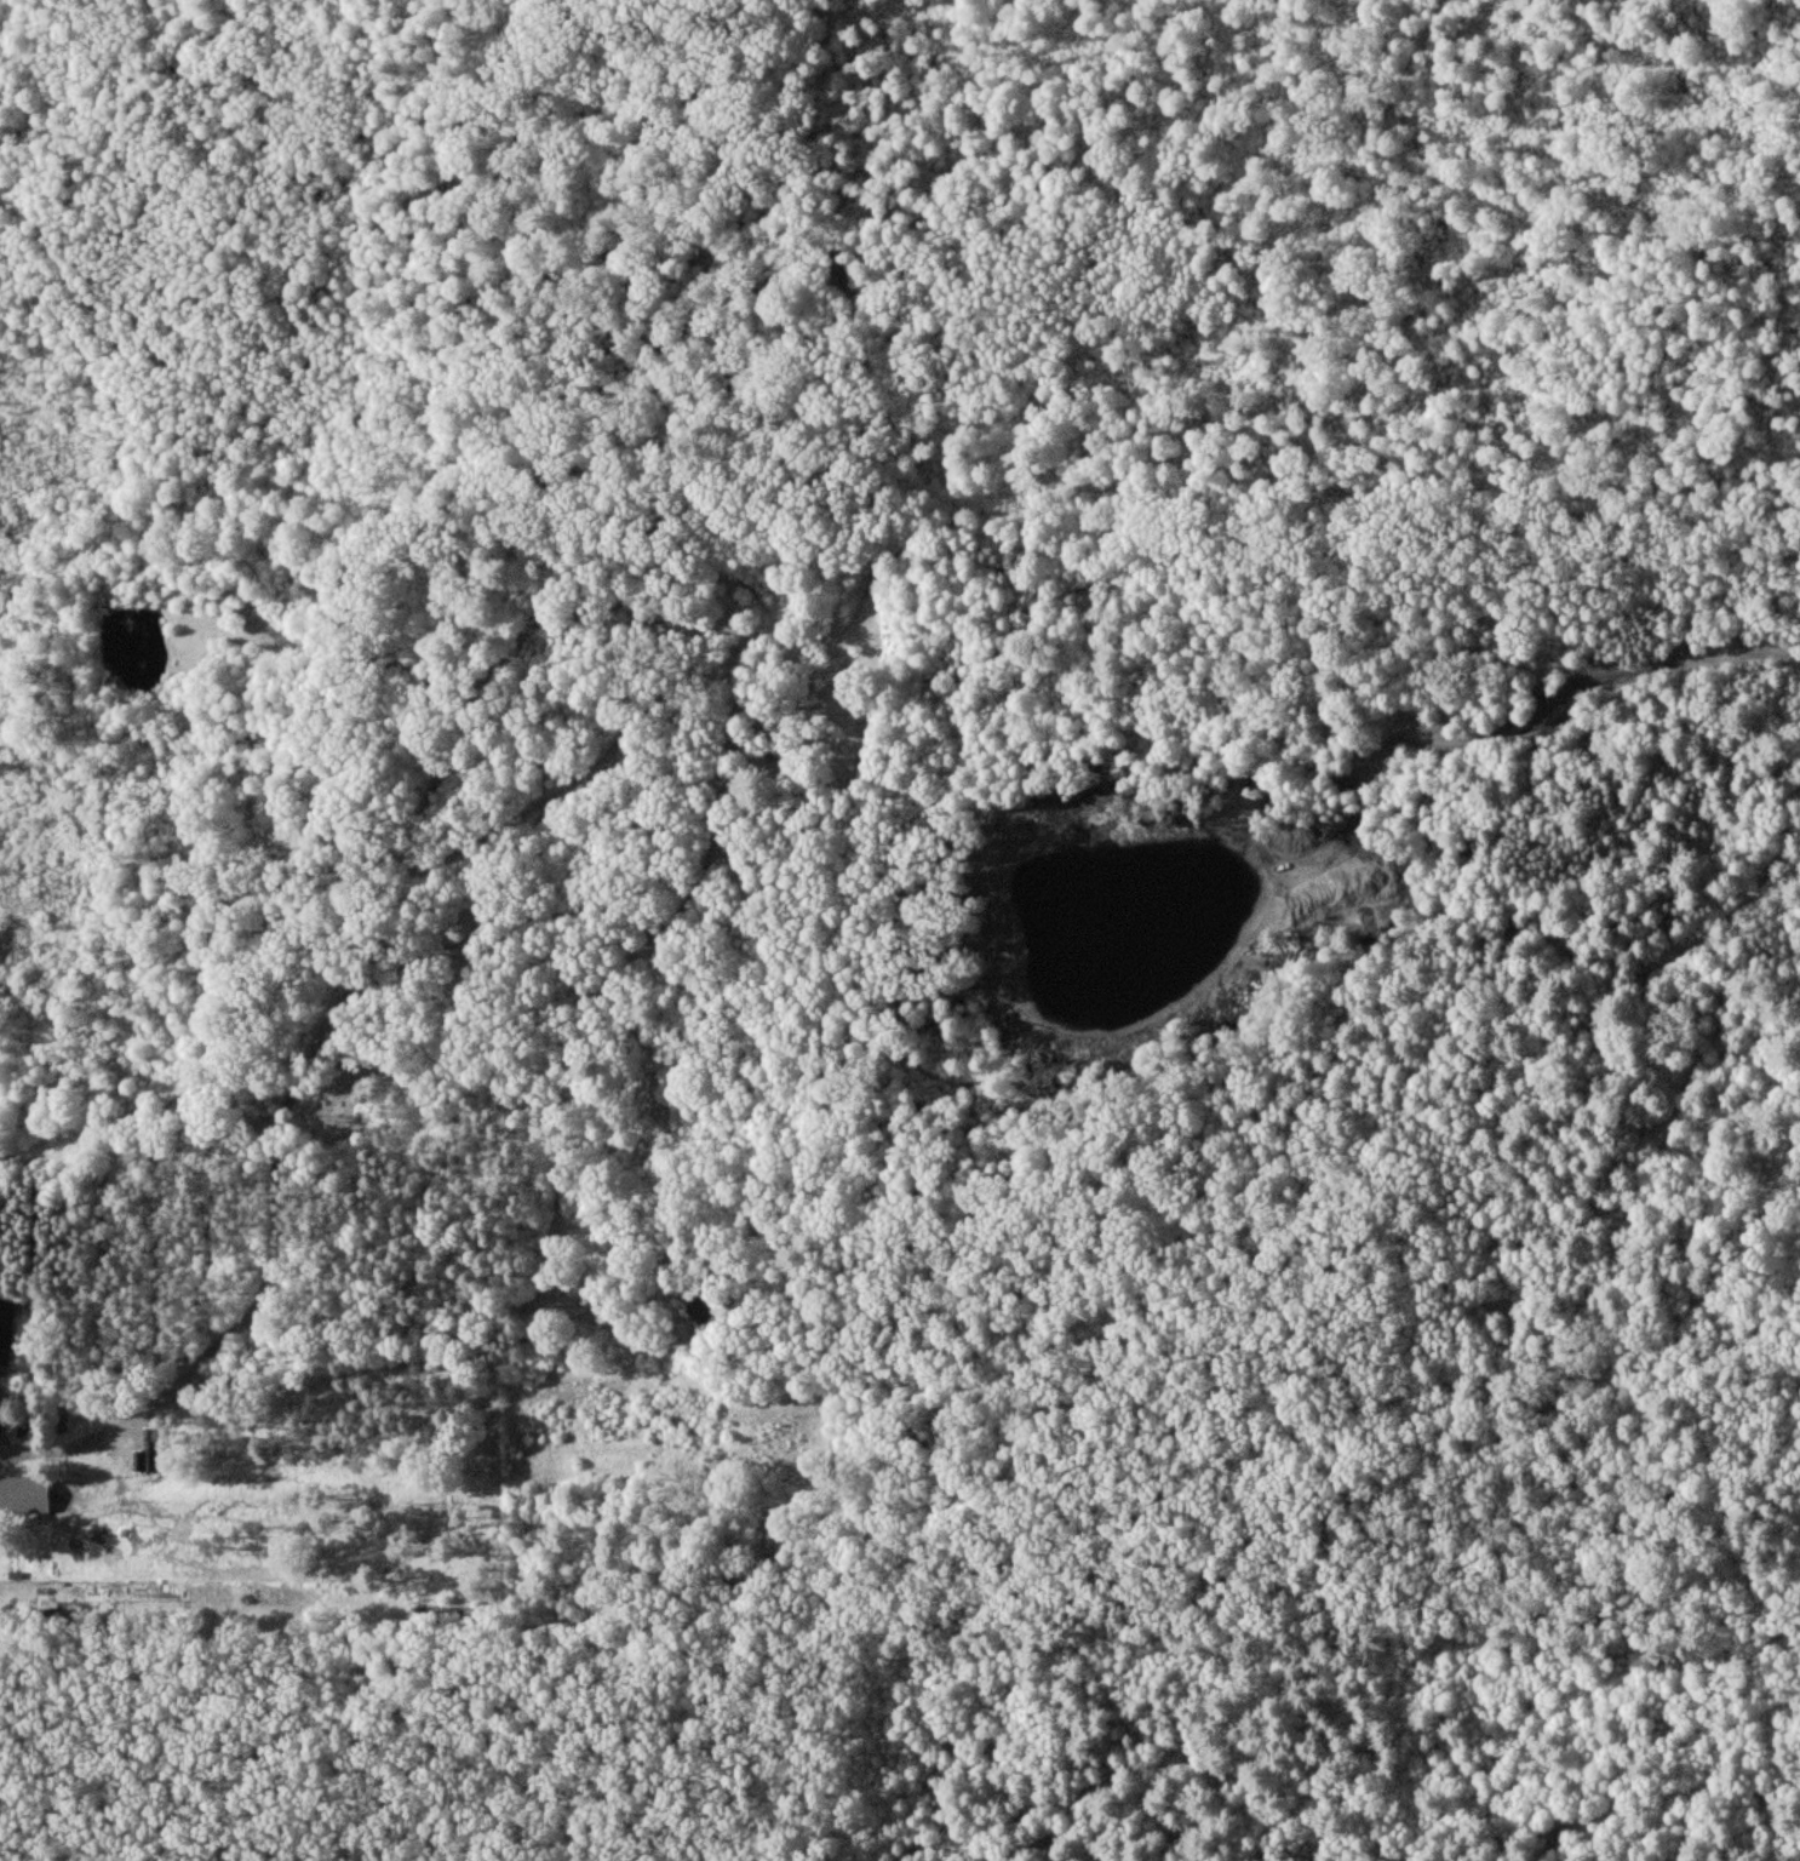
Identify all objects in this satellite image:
building: (699, 1310)
building: (5, 1332)
road: (46, 1445)
building: (23, 1495)

